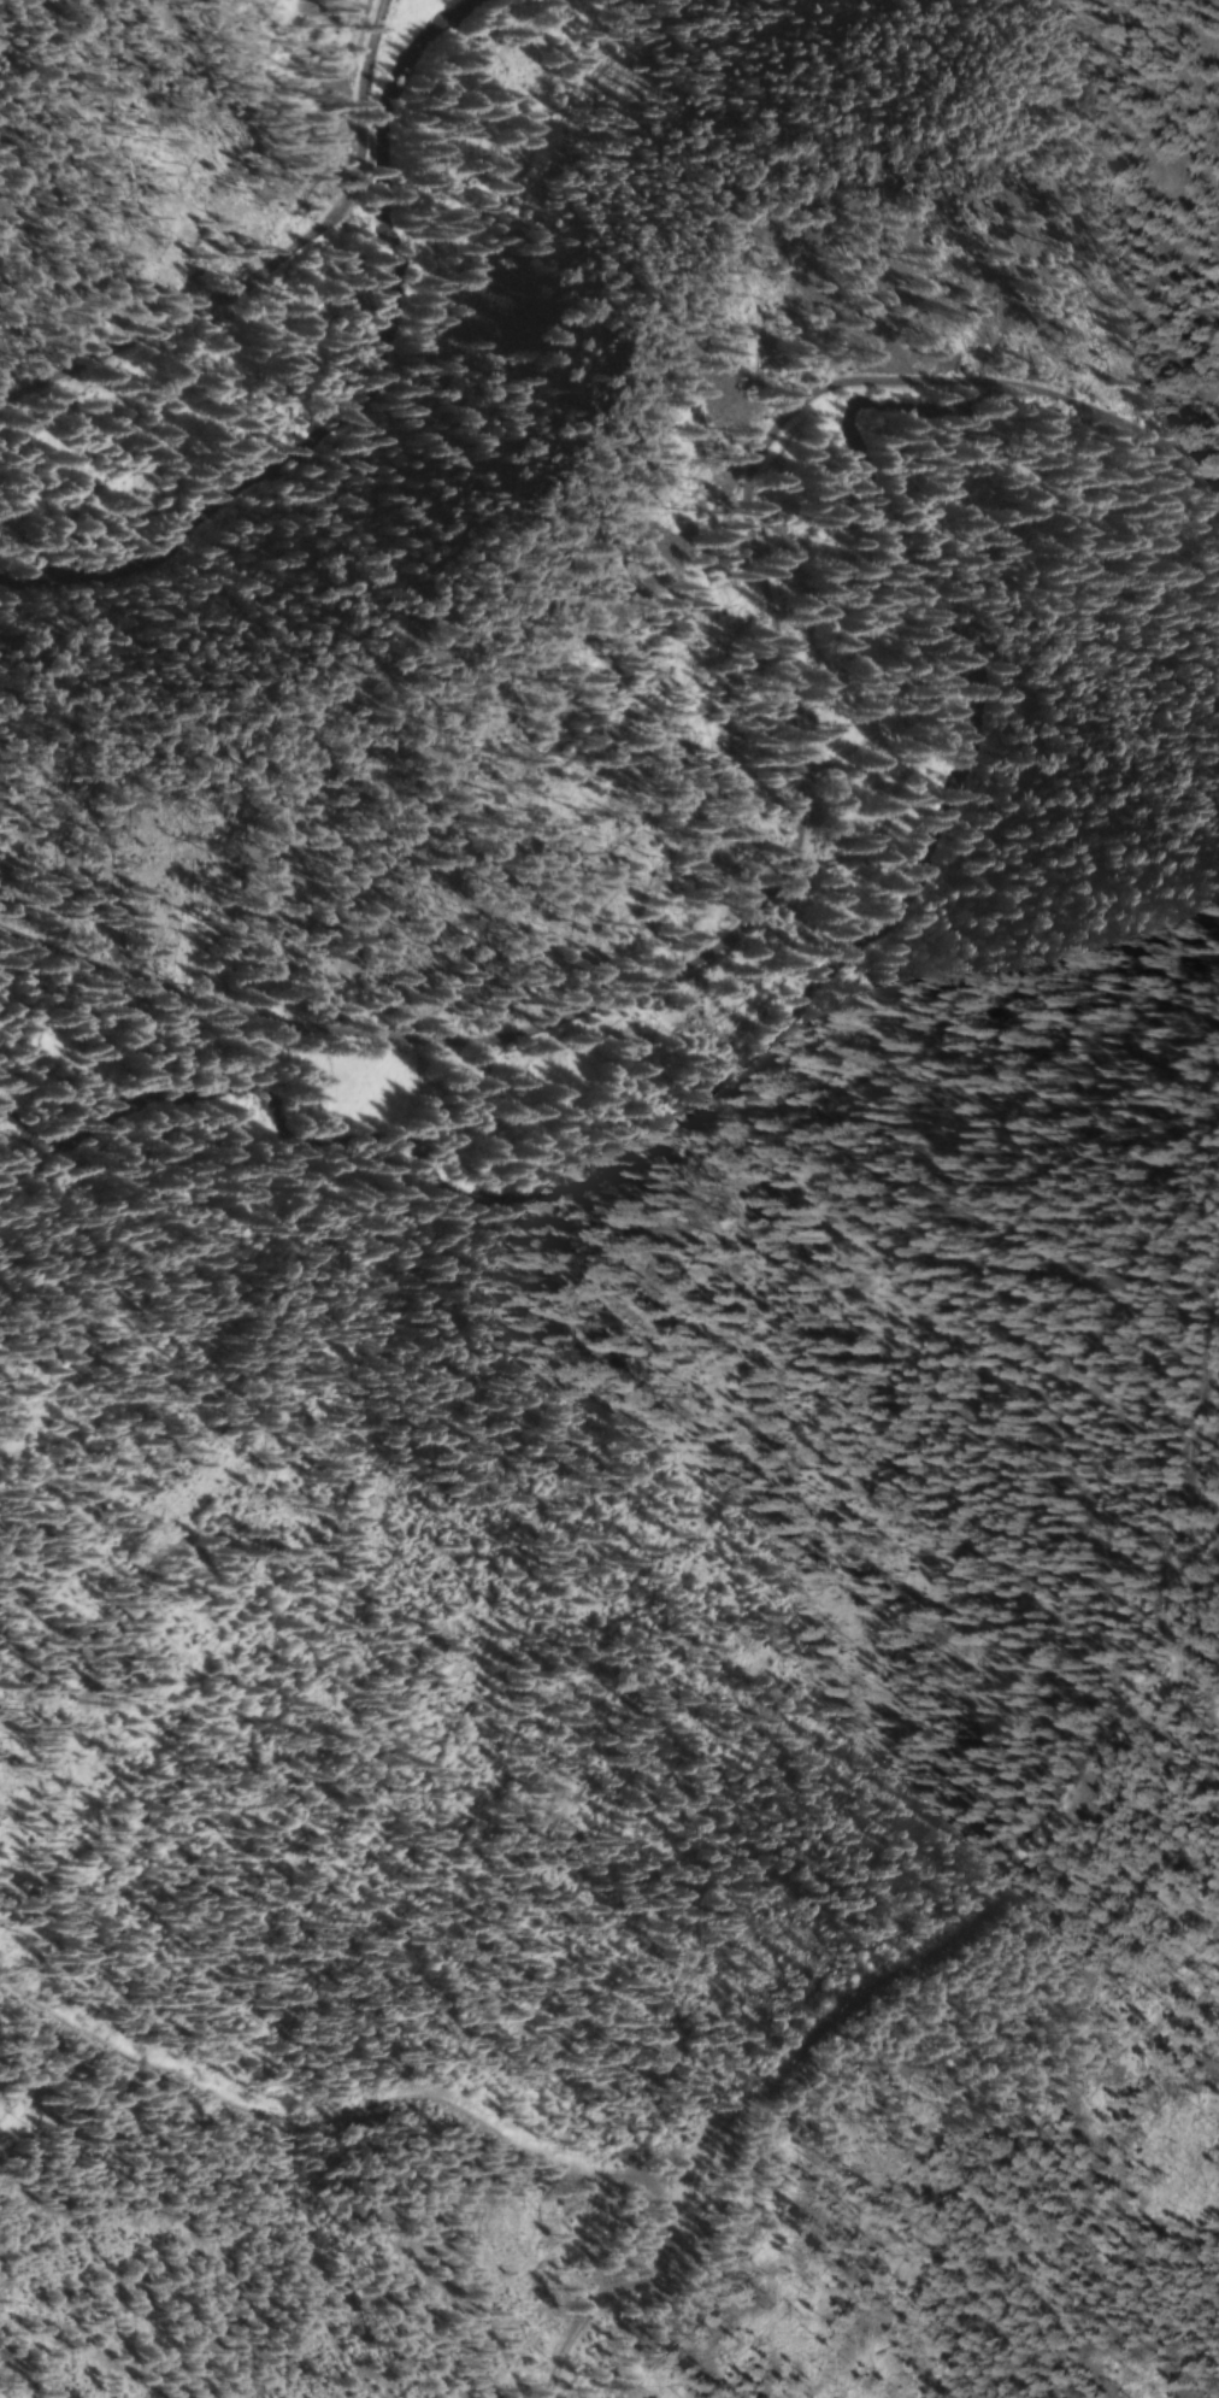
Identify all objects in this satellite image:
road: (270, 264)
river: (364, 388)
road: (787, 836)
river: (850, 956)

